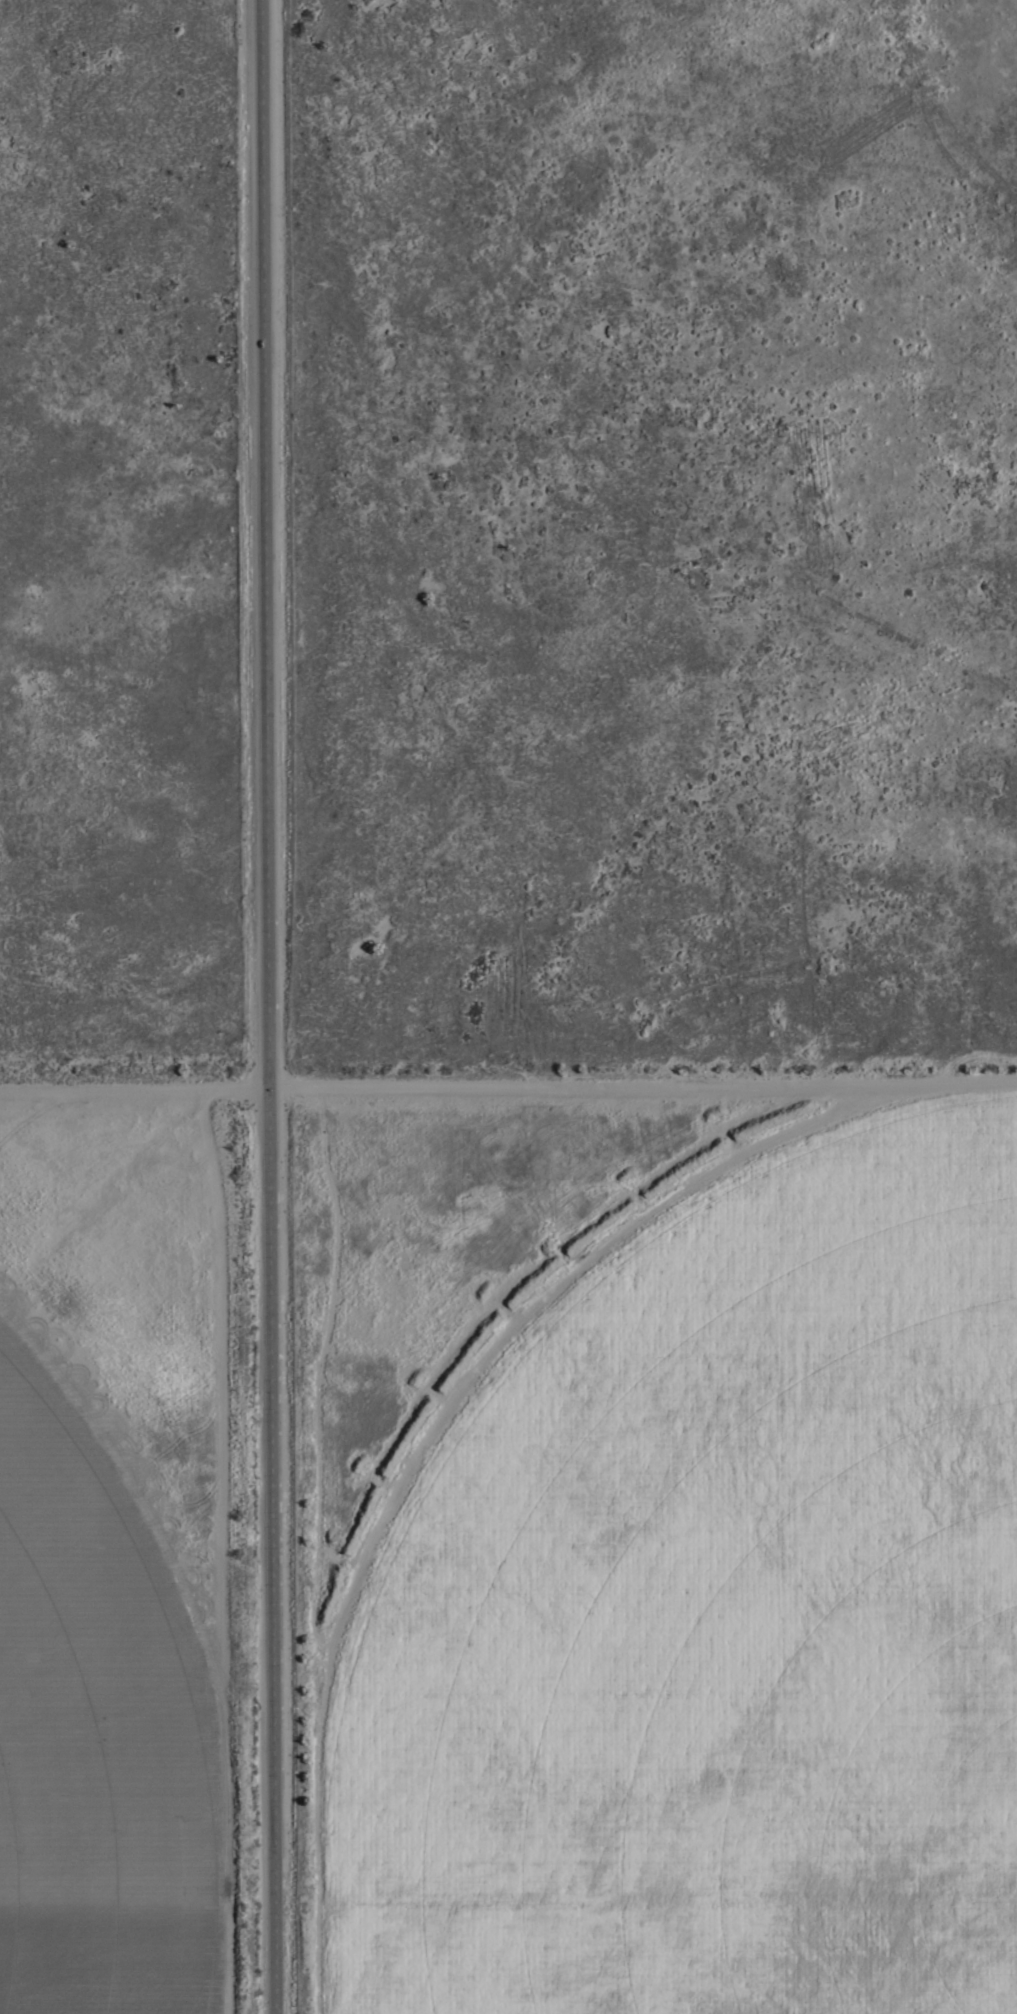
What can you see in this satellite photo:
road: (268, 1007)
crop: (508, 1539)

